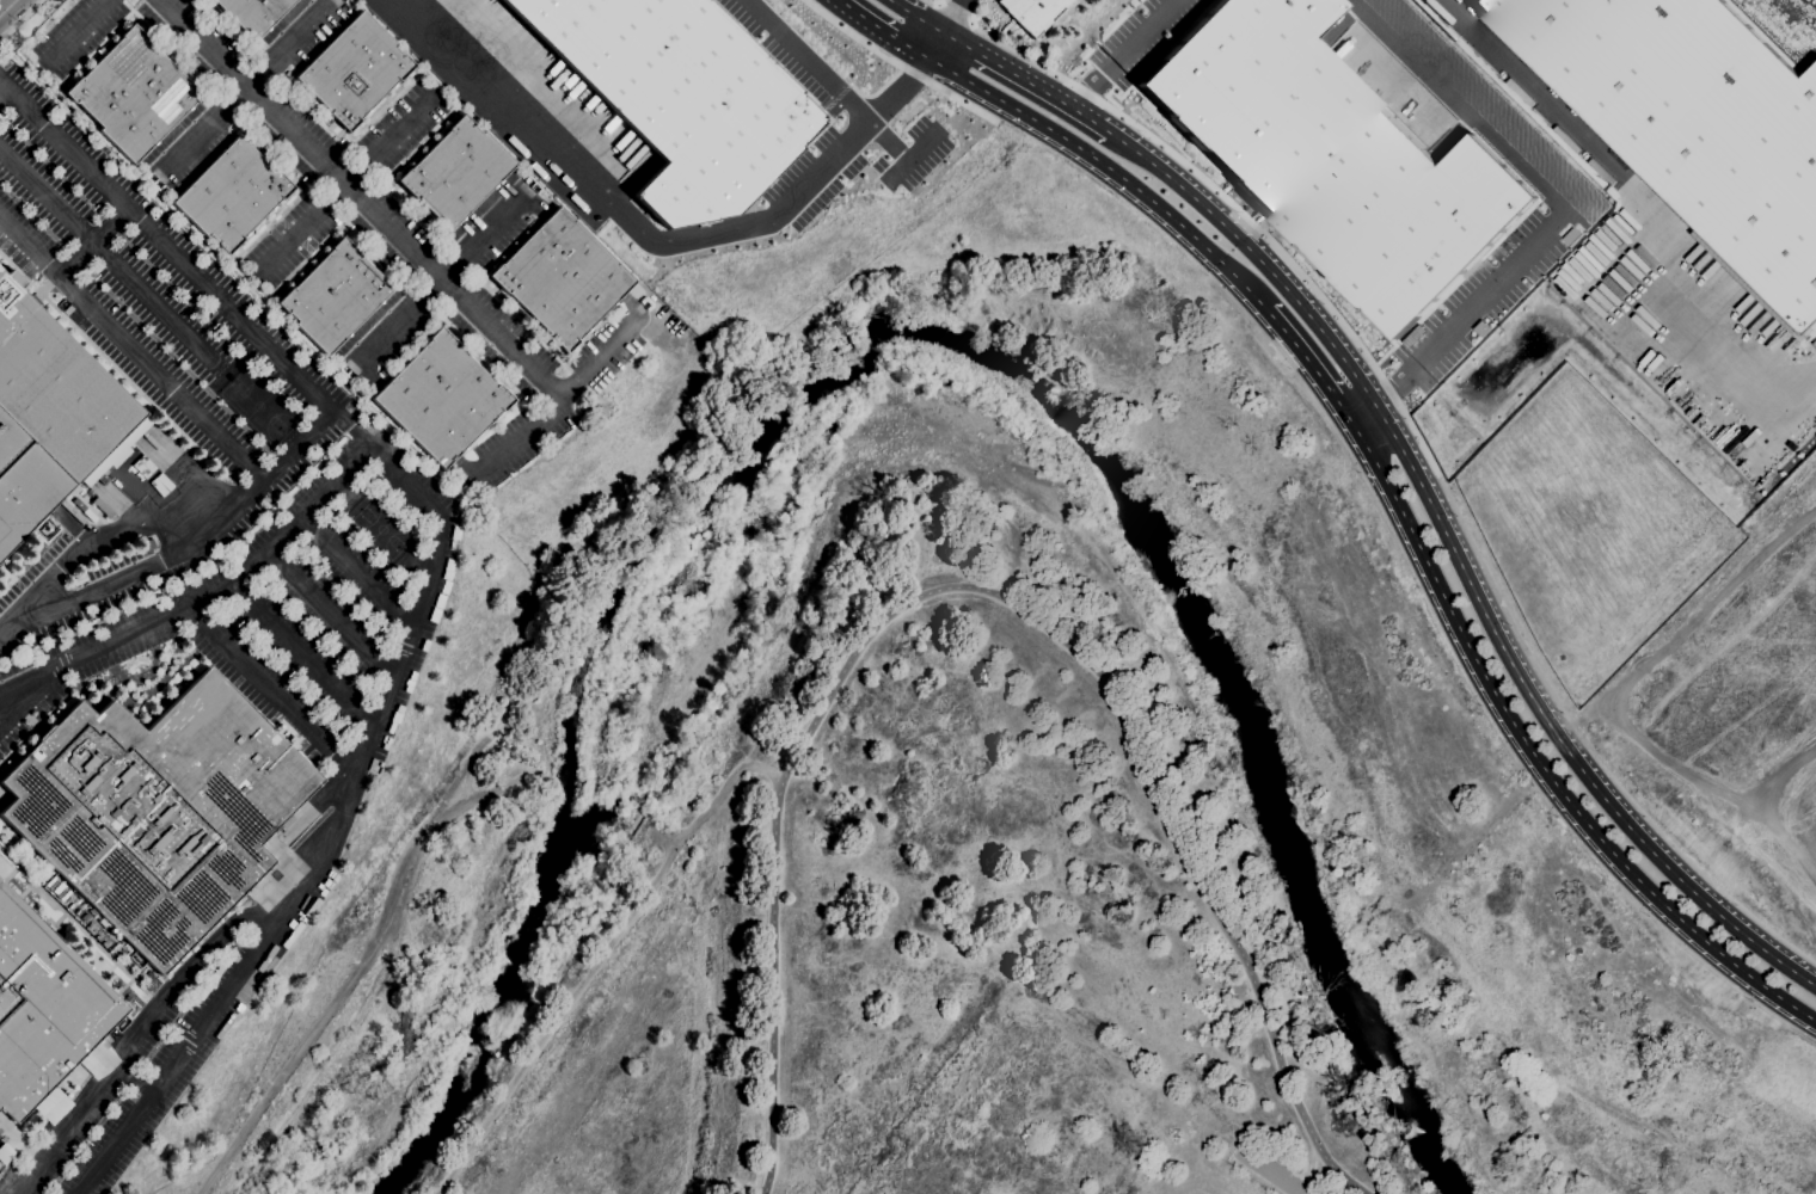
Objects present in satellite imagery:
road: (10, 2)
road: (7, 8)
building: (1032, 12)
building: (253, 13)
road: (918, 16)
road: (953, 16)
road: (20, 20)
road: (881, 29)
road: (80, 30)
road: (853, 36)
road: (934, 45)
road: (1121, 53)
road: (804, 59)
building: (354, 69)
road: (1025, 80)
road: (246, 90)
building: (133, 93)
road: (4, 96)
road: (950, 96)
building: (681, 97)
building: (1692, 123)
road: (885, 139)
road: (909, 156)
building: (1331, 159)
road: (1106, 170)
building: (455, 172)
road: (346, 183)
building: (231, 193)
road: (358, 198)
road: (1562, 211)
road: (1664, 226)
road: (93, 241)
road: (652, 241)
building: (562, 278)
road: (441, 285)
building: (333, 295)
road: (149, 296)
parking lot: (159, 302)
river: (914, 333)
building: (1814, 343)
road: (133, 349)
road: (1272, 349)
road: (1309, 367)
building: (441, 398)
road: (560, 398)
building: (51, 416)
road: (1417, 439)
road: (384, 525)
road: (108, 534)
building: (147, 544)
road: (186, 547)
road: (1459, 561)
road: (358, 568)
road: (992, 592)
road: (431, 593)
road: (205, 597)
road: (332, 610)
parking lot: (321, 613)
road: (307, 653)
road: (271, 691)
road: (32, 697)
road: (1538, 761)
building: (158, 811)
building: (4, 866)
building: (54, 884)
building: (62, 891)
building: (69, 905)
building: (85, 917)
building: (97, 934)
road: (600, 964)
road: (336, 999)
building: (43, 1008)
road: (143, 1041)
road: (137, 1083)
road: (1269, 1171)
road: (1253, 1177)

